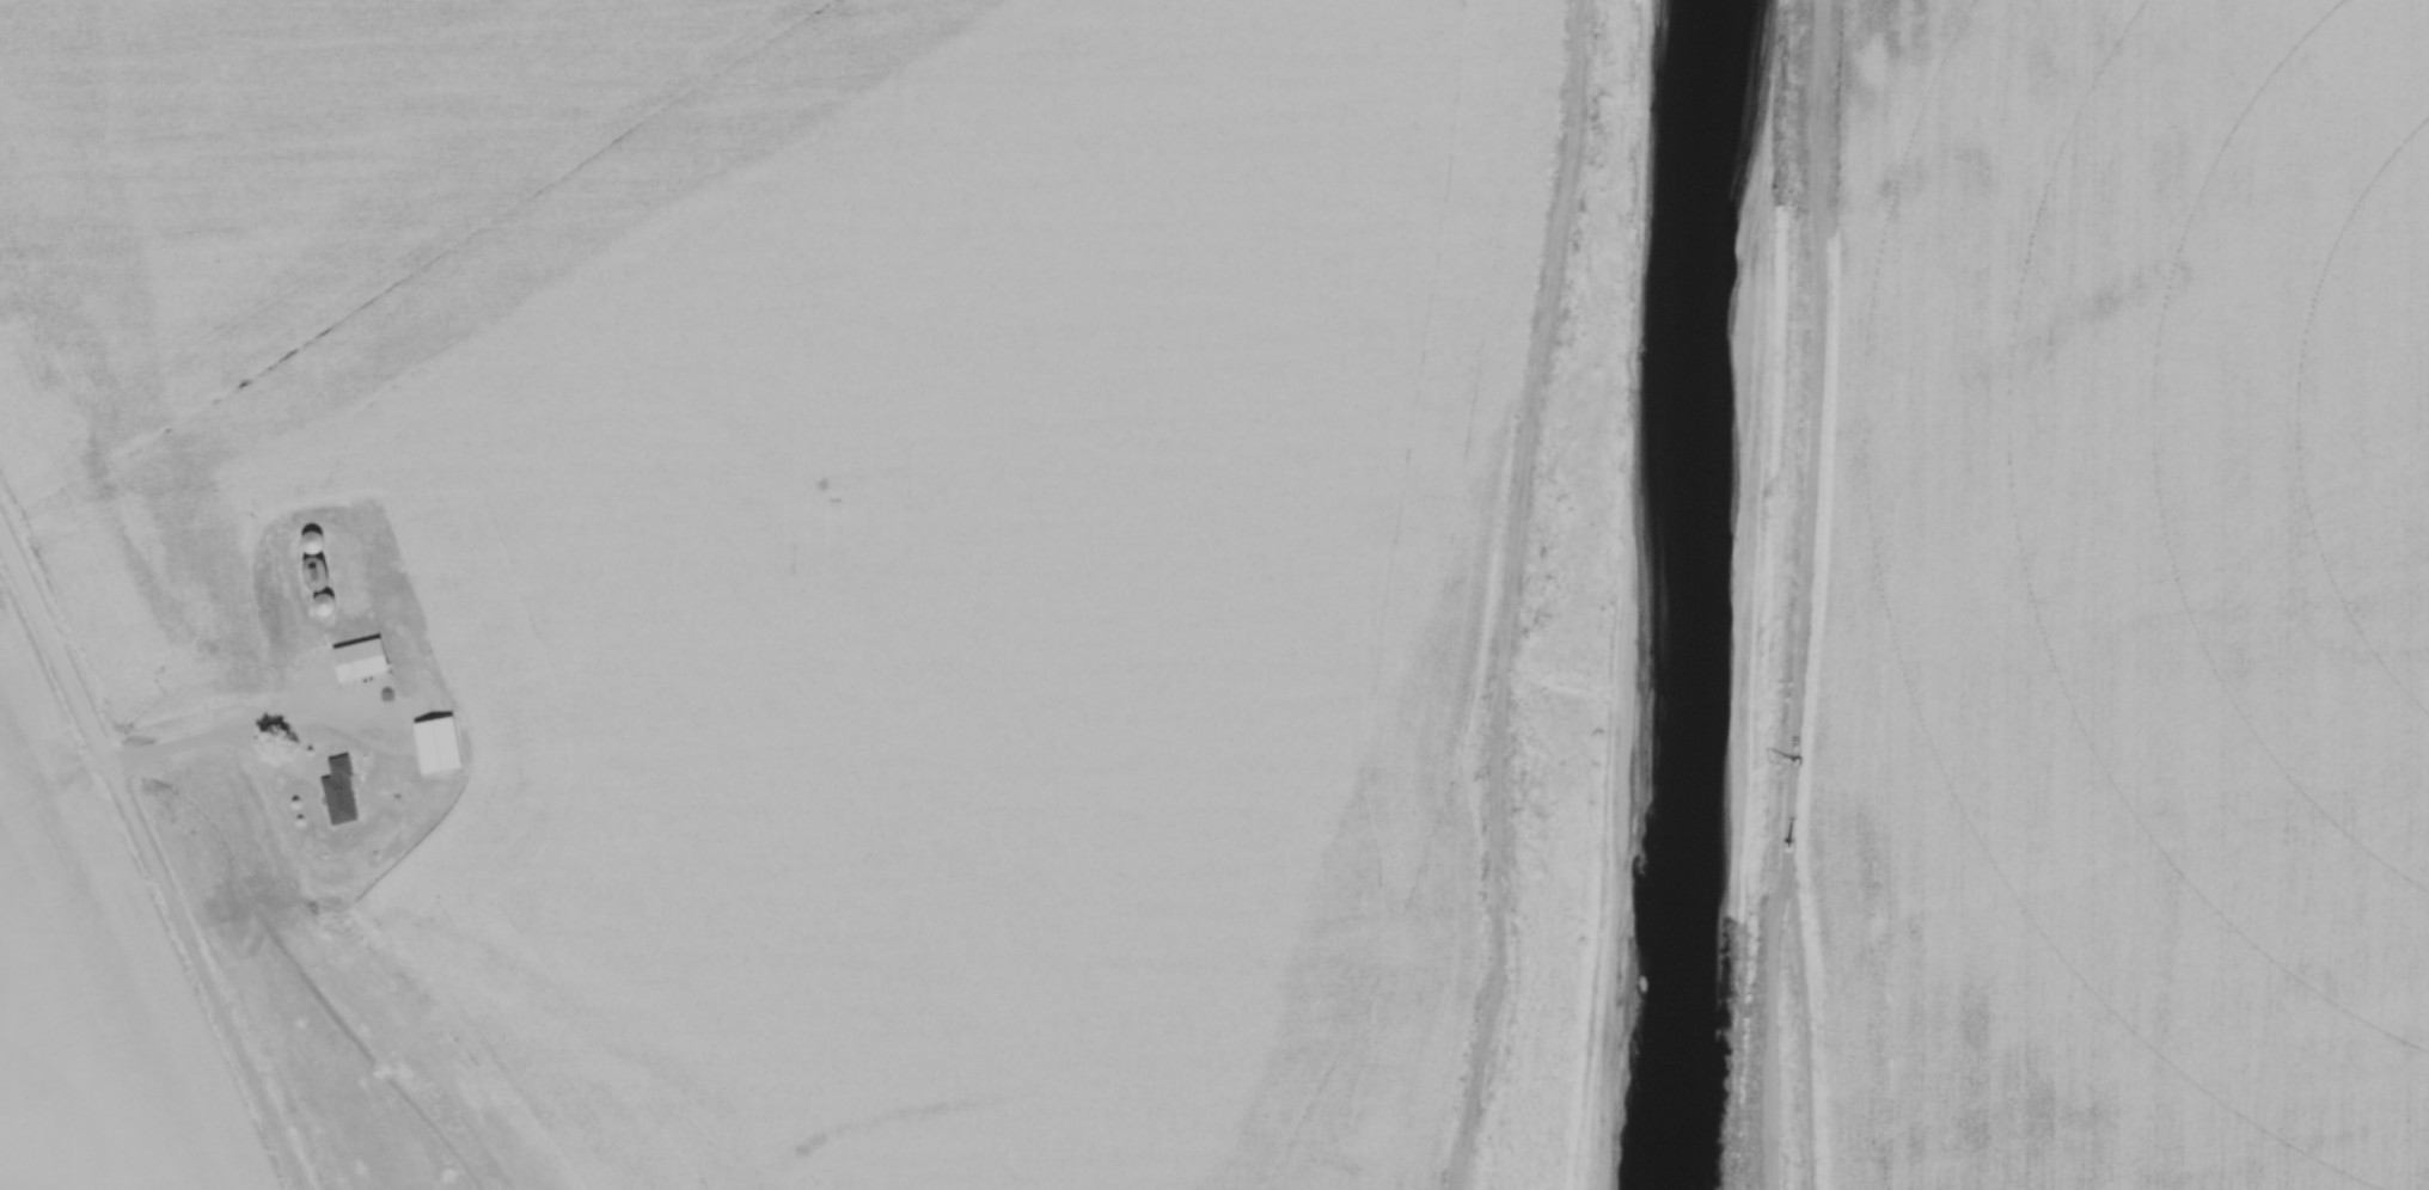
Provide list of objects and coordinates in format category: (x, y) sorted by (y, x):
river: (1697, 595)
road: (252, 724)
road: (296, 736)
road: (265, 750)
road: (151, 861)

